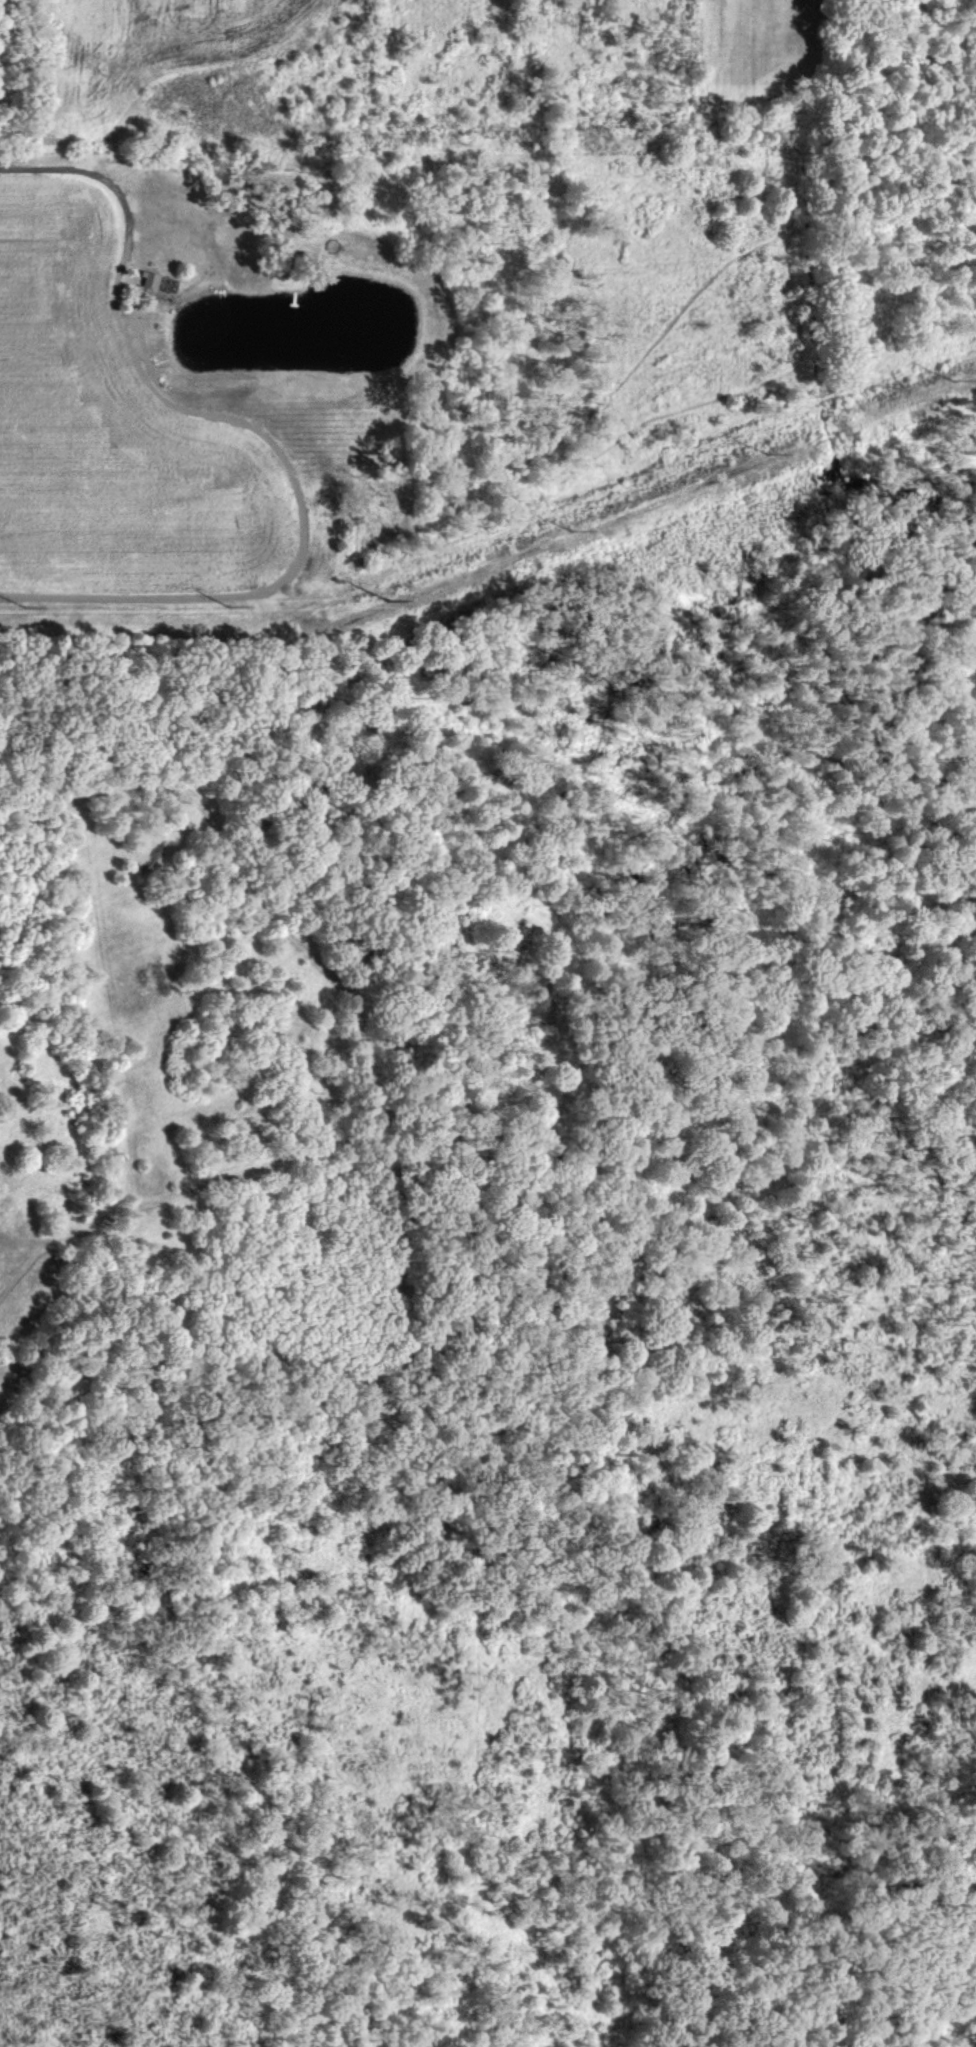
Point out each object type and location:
building: (144, 279)

